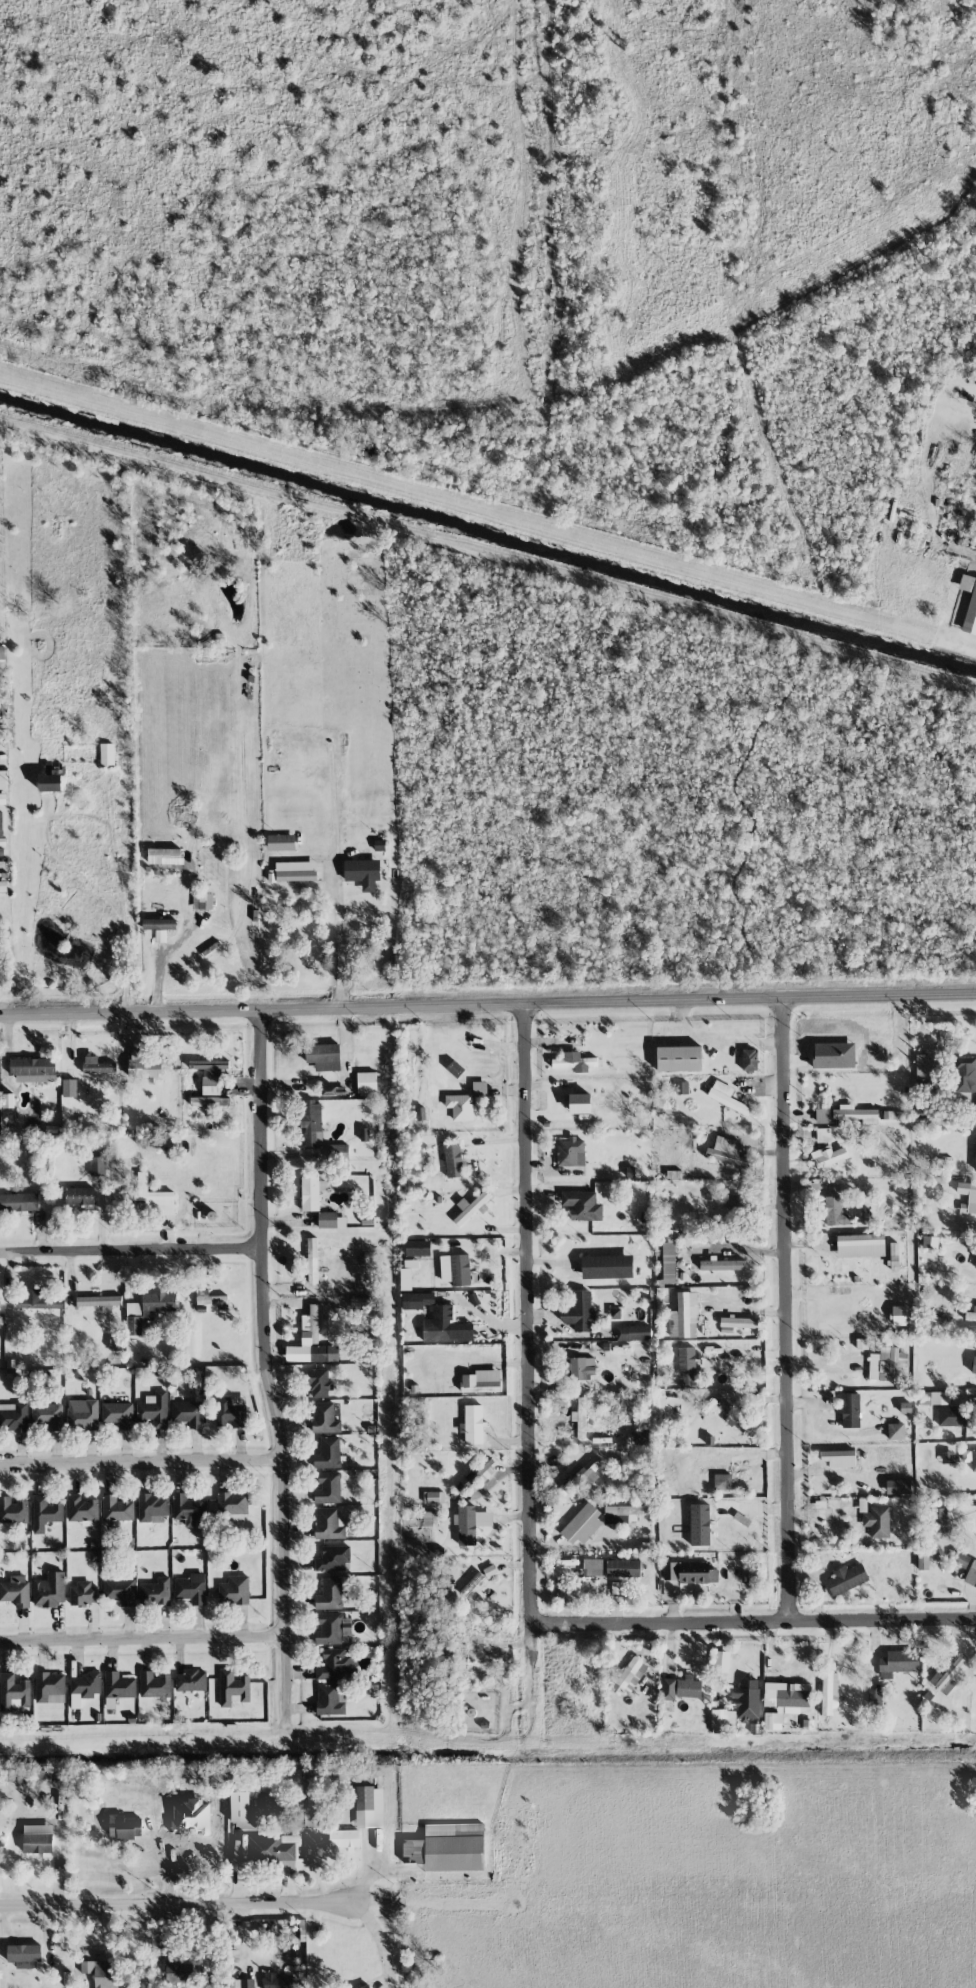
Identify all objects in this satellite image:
road: (966, 549)
building: (969, 603)
building: (107, 754)
building: (49, 780)
road: (104, 820)
building: (1, 821)
building: (281, 842)
building: (165, 856)
building: (293, 871)
building: (363, 872)
building: (202, 901)
building: (159, 927)
road: (334, 938)
road: (488, 1002)
building: (323, 1056)
building: (679, 1058)
building: (749, 1059)
building: (574, 1061)
building: (97, 1065)
building: (143, 1065)
building: (921, 1066)
building: (455, 1068)
building: (33, 1069)
building: (211, 1073)
building: (965, 1074)
building: (366, 1082)
building: (682, 1087)
building: (69, 1088)
building: (479, 1088)
building: (333, 1090)
building: (727, 1097)
building: (8, 1100)
building: (204, 1101)
building: (579, 1103)
building: (460, 1106)
building: (856, 1114)
building: (890, 1114)
building: (822, 1115)
building: (312, 1123)
building: (364, 1134)
building: (823, 1135)
building: (975, 1149)
building: (571, 1151)
building: (730, 1152)
building: (829, 1157)
building: (453, 1160)
building: (97, 1165)
building: (311, 1192)
building: (79, 1196)
building: (971, 1198)
building: (154, 1199)
building: (19, 1202)
building: (731, 1202)
building: (582, 1205)
building: (472, 1206)
building: (836, 1211)
building: (331, 1219)
building: (930, 1242)
building: (860, 1245)
building: (418, 1247)
road: (744, 1250)
road: (133, 1251)
building: (894, 1256)
building: (311, 1261)
building: (668, 1262)
building: (974, 1262)
building: (722, 1264)
building: (607, 1266)
building: (413, 1267)
building: (456, 1269)
building: (354, 1284)
building: (38, 1299)
building: (211, 1299)
building: (420, 1300)
building: (99, 1302)
building: (360, 1302)
building: (147, 1308)
road: (791, 1309)
building: (579, 1312)
building: (615, 1313)
building: (898, 1315)
building: (684, 1316)
building: (970, 1316)
road: (528, 1317)
building: (737, 1323)
building: (440, 1325)
road: (267, 1326)
building: (633, 1332)
building: (115, 1344)
building: (312, 1344)
building: (886, 1362)
building: (974, 1365)
building: (686, 1366)
building: (582, 1367)
building: (481, 1381)
building: (319, 1383)
building: (934, 1398)
building: (708, 1406)
building: (153, 1410)
building: (850, 1410)
building: (231, 1411)
building: (188, 1413)
building: (82, 1414)
building: (118, 1414)
building: (47, 1415)
building: (953, 1415)
building: (739, 1416)
building: (580, 1417)
building: (14, 1418)
building: (325, 1418)
building: (473, 1424)
building: (895, 1431)
building: (638, 1436)
building: (328, 1453)
building: (883, 1455)
building: (947, 1457)
building: (839, 1458)
building: (973, 1459)
building: (715, 1463)
road: (144, 1465)
building: (477, 1474)
building: (585, 1476)
building: (722, 1481)
building: (898, 1486)
building: (328, 1488)
building: (432, 1497)
building: (232, 1502)
building: (117, 1508)
building: (152, 1508)
building: (187, 1508)
building: (82, 1509)
building: (820, 1509)
building: (13, 1510)
building: (45, 1513)
building: (623, 1513)
building: (430, 1518)
building: (939, 1520)
building: (877, 1521)
building: (329, 1523)
building: (471, 1523)
building: (582, 1524)
building: (699, 1524)
building: (739, 1524)
building: (333, 1558)
building: (926, 1559)
building: (960, 1559)
building: (593, 1567)
building: (623, 1568)
building: (490, 1570)
building: (670, 1570)
building: (696, 1572)
building: (971, 1574)
building: (753, 1577)
building: (846, 1578)
building: (471, 1583)
building: (616, 1587)
building: (191, 1588)
building: (50, 1589)
building: (16, 1590)
building: (234, 1590)
building: (120, 1591)
building: (155, 1592)
building: (83, 1593)
building: (329, 1594)
road: (755, 1625)
building: (332, 1628)
road: (145, 1642)
building: (898, 1662)
building: (335, 1665)
building: (627, 1676)
building: (946, 1677)
building: (191, 1680)
building: (86, 1684)
building: (154, 1684)
building: (119, 1685)
road: (290, 1685)
building: (50, 1687)
building: (688, 1687)
building: (232, 1688)
building: (668, 1689)
building: (828, 1690)
building: (13, 1691)
building: (787, 1695)
building: (874, 1696)
building: (331, 1699)
building: (746, 1699)
building: (75, 1700)
building: (723, 1720)
building: (772, 1720)
road: (454, 1736)
building: (239, 1806)
building: (369, 1806)
building: (126, 1827)
building: (343, 1839)
building: (38, 1843)
building: (448, 1847)
building: (275, 1850)
road: (161, 1856)
road: (176, 1904)
road: (380, 1940)
building: (24, 1955)
building: (178, 1970)
building: (102, 1972)
building: (278, 1981)
building: (247, 1983)

